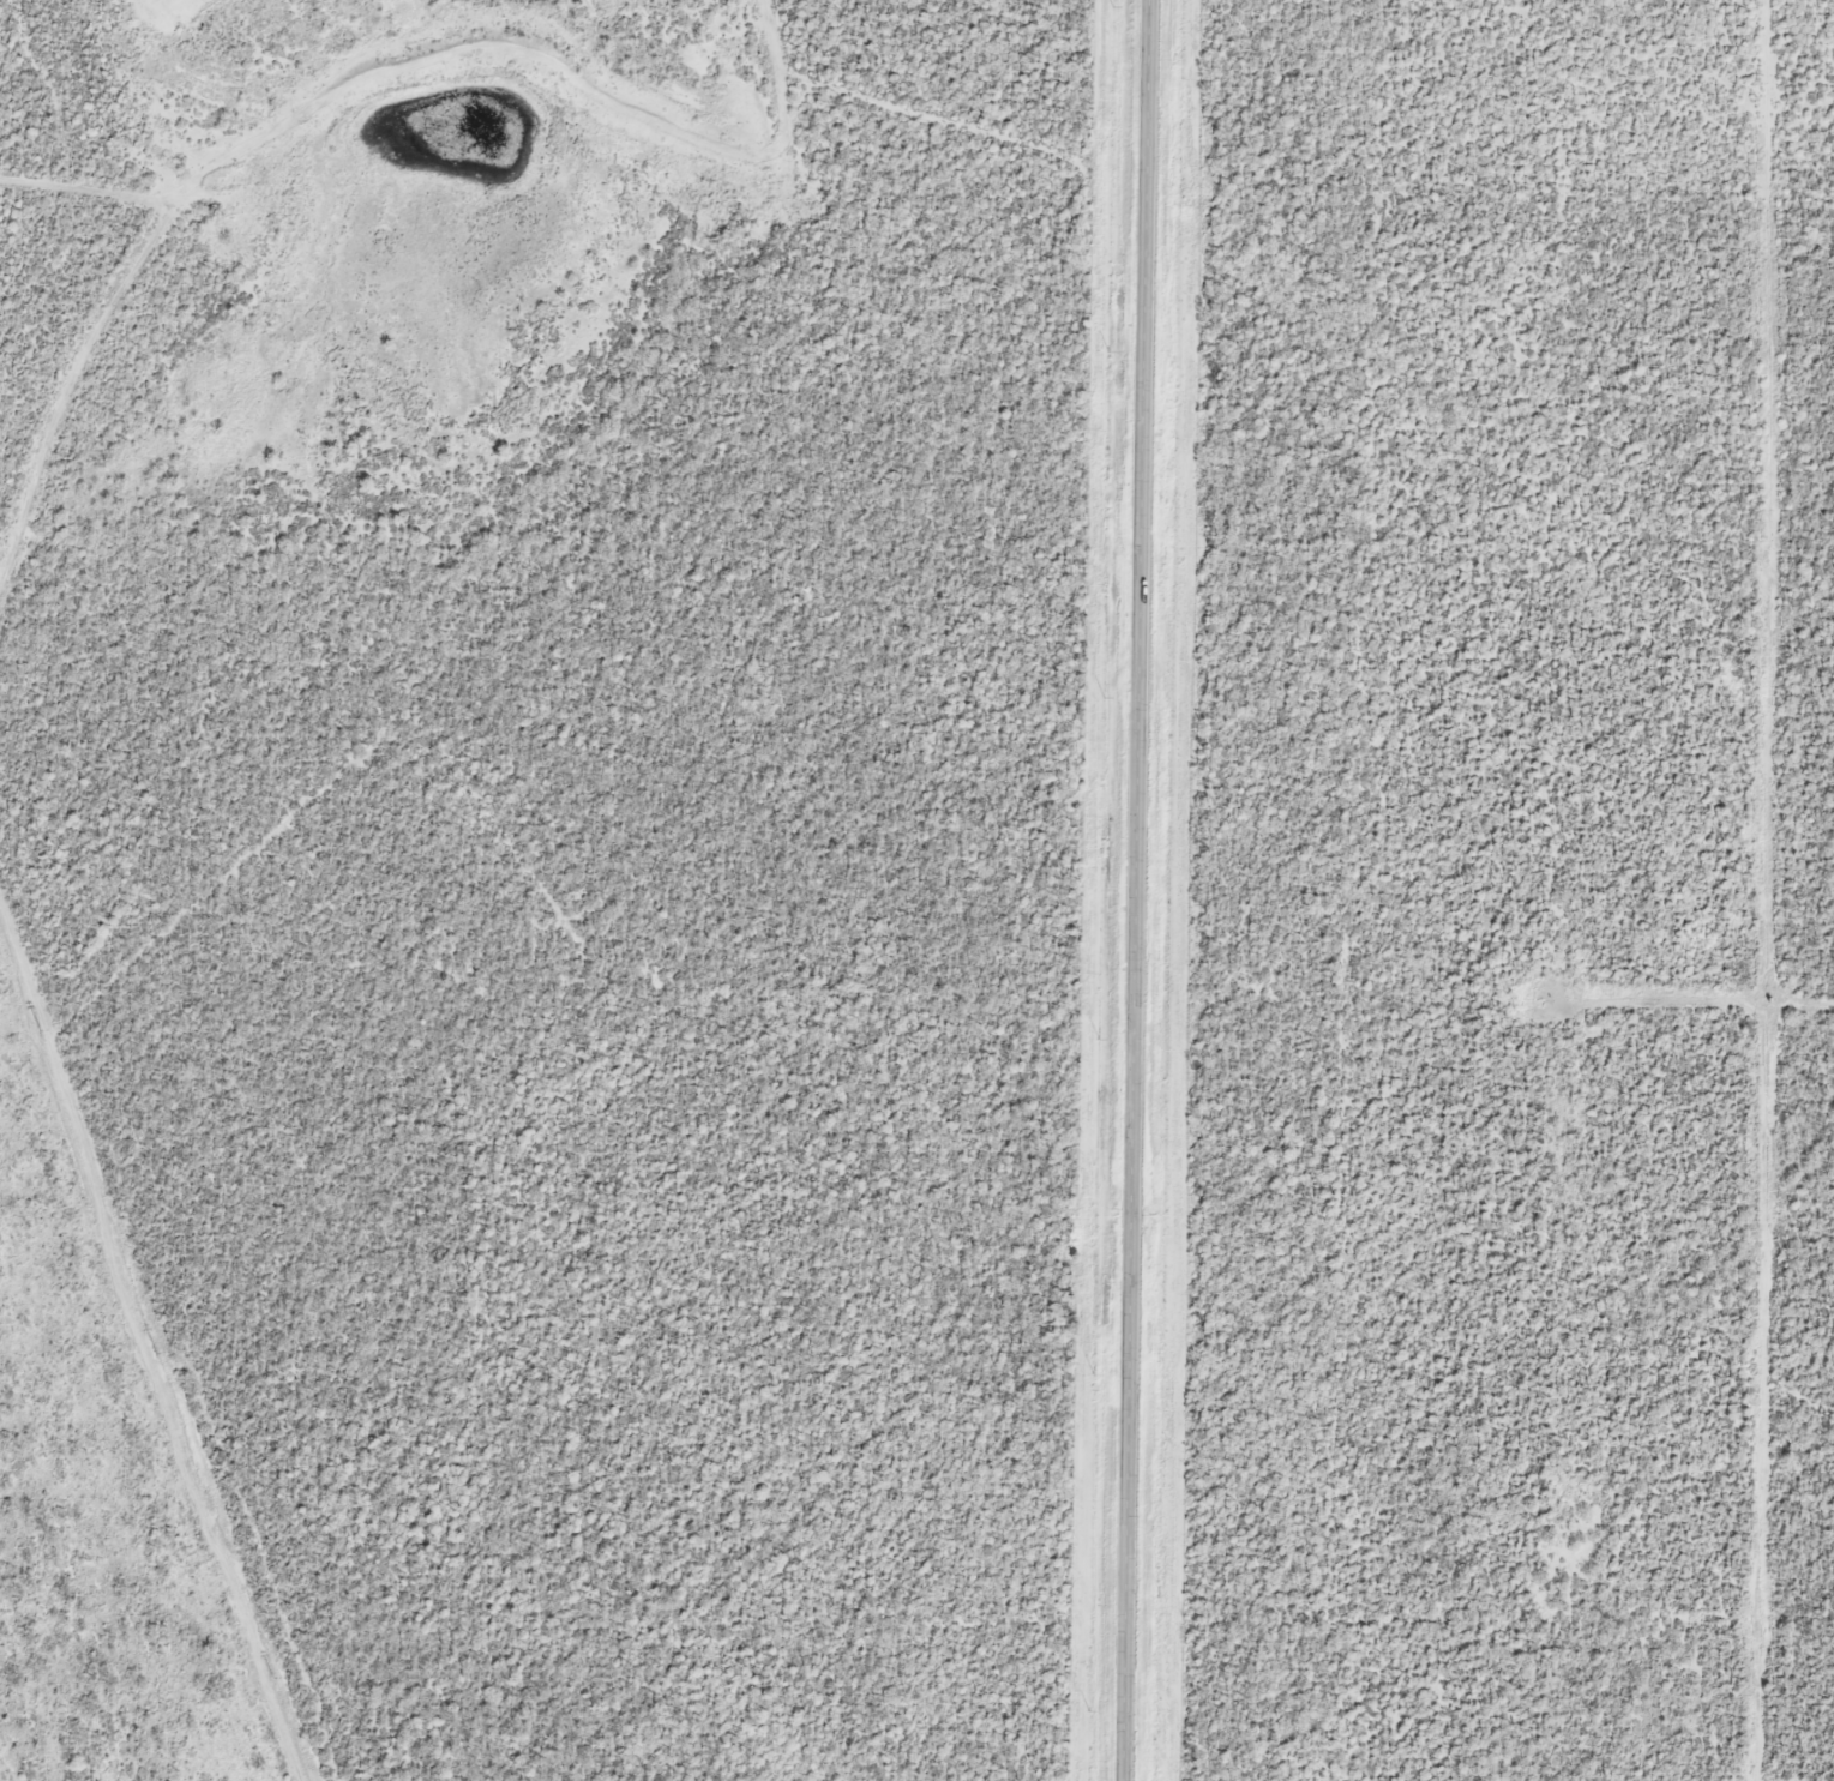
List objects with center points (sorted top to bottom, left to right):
road: (1135, 890)
power tower: (41, 1030)
power tower: (158, 1352)
power tower: (273, 1675)

